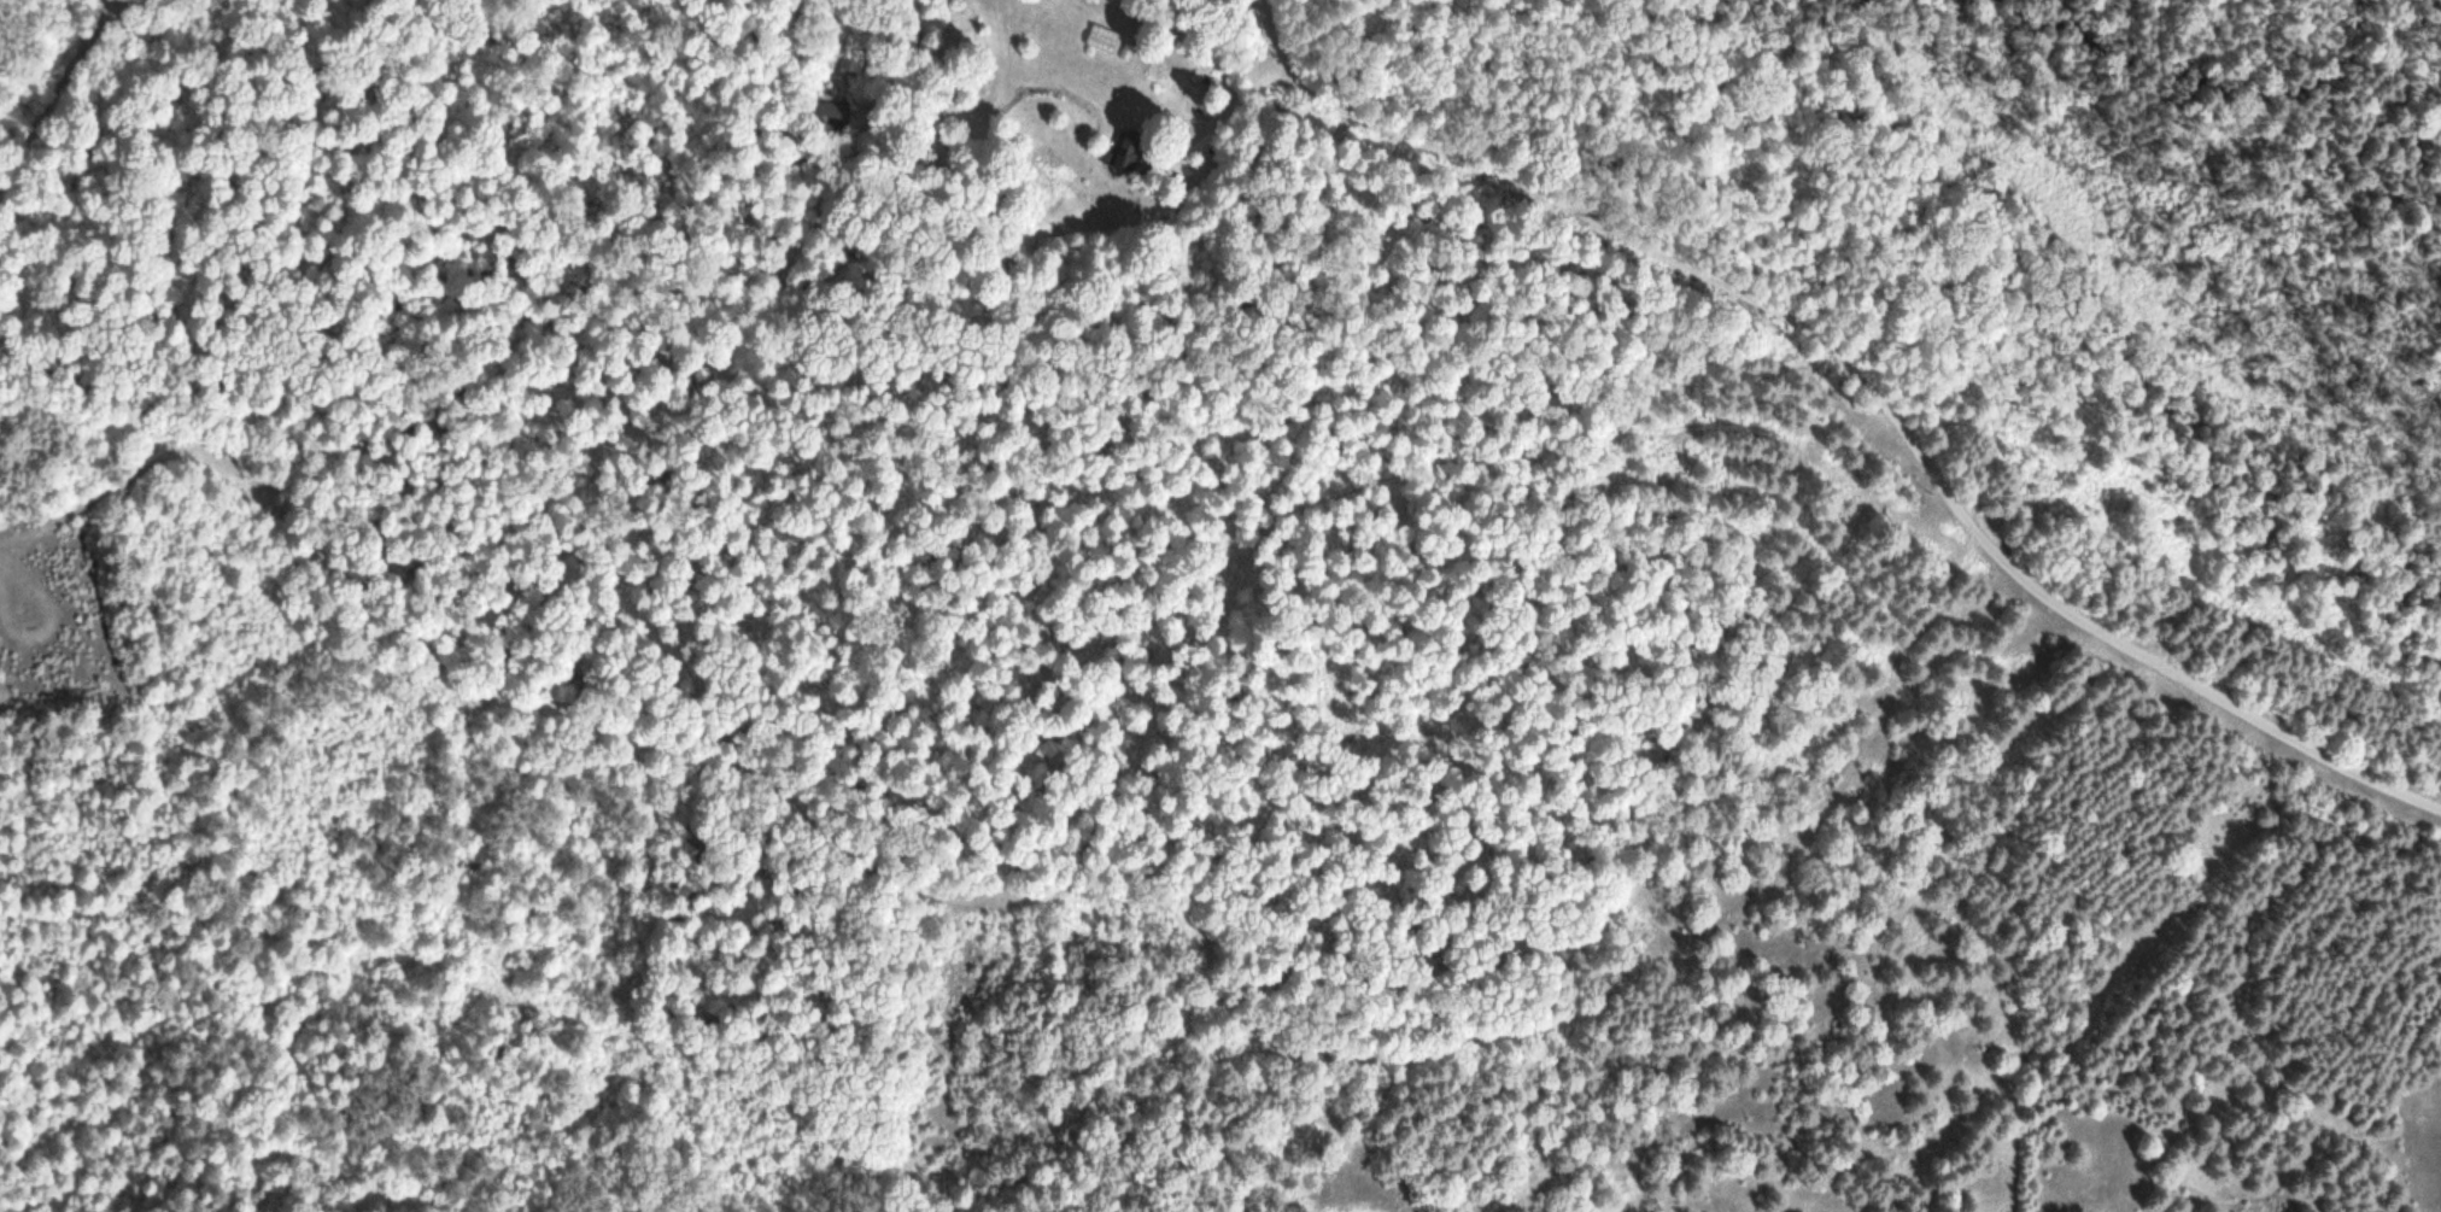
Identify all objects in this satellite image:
road: (59, 87)
building: (832, 110)
building: (1124, 153)
road: (1866, 376)

